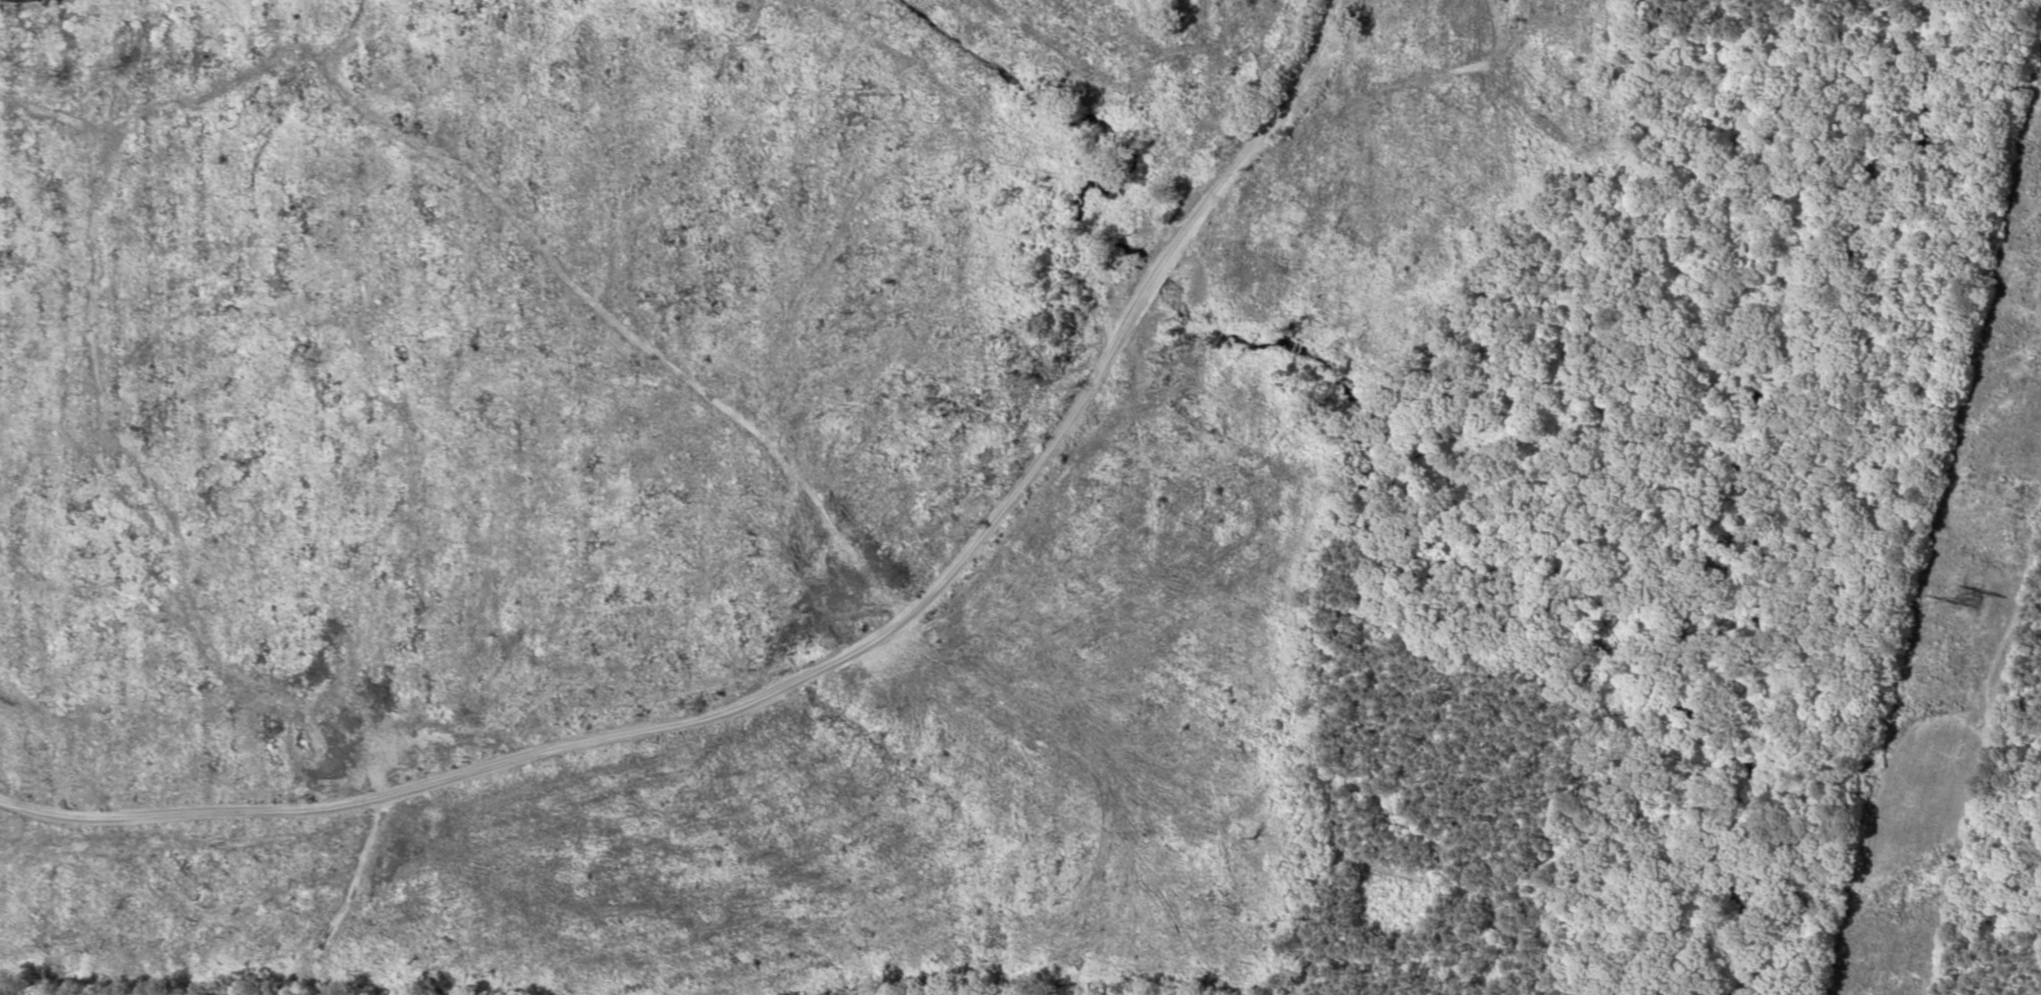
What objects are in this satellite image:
power tower: (1983, 613)
road: (845, 653)

